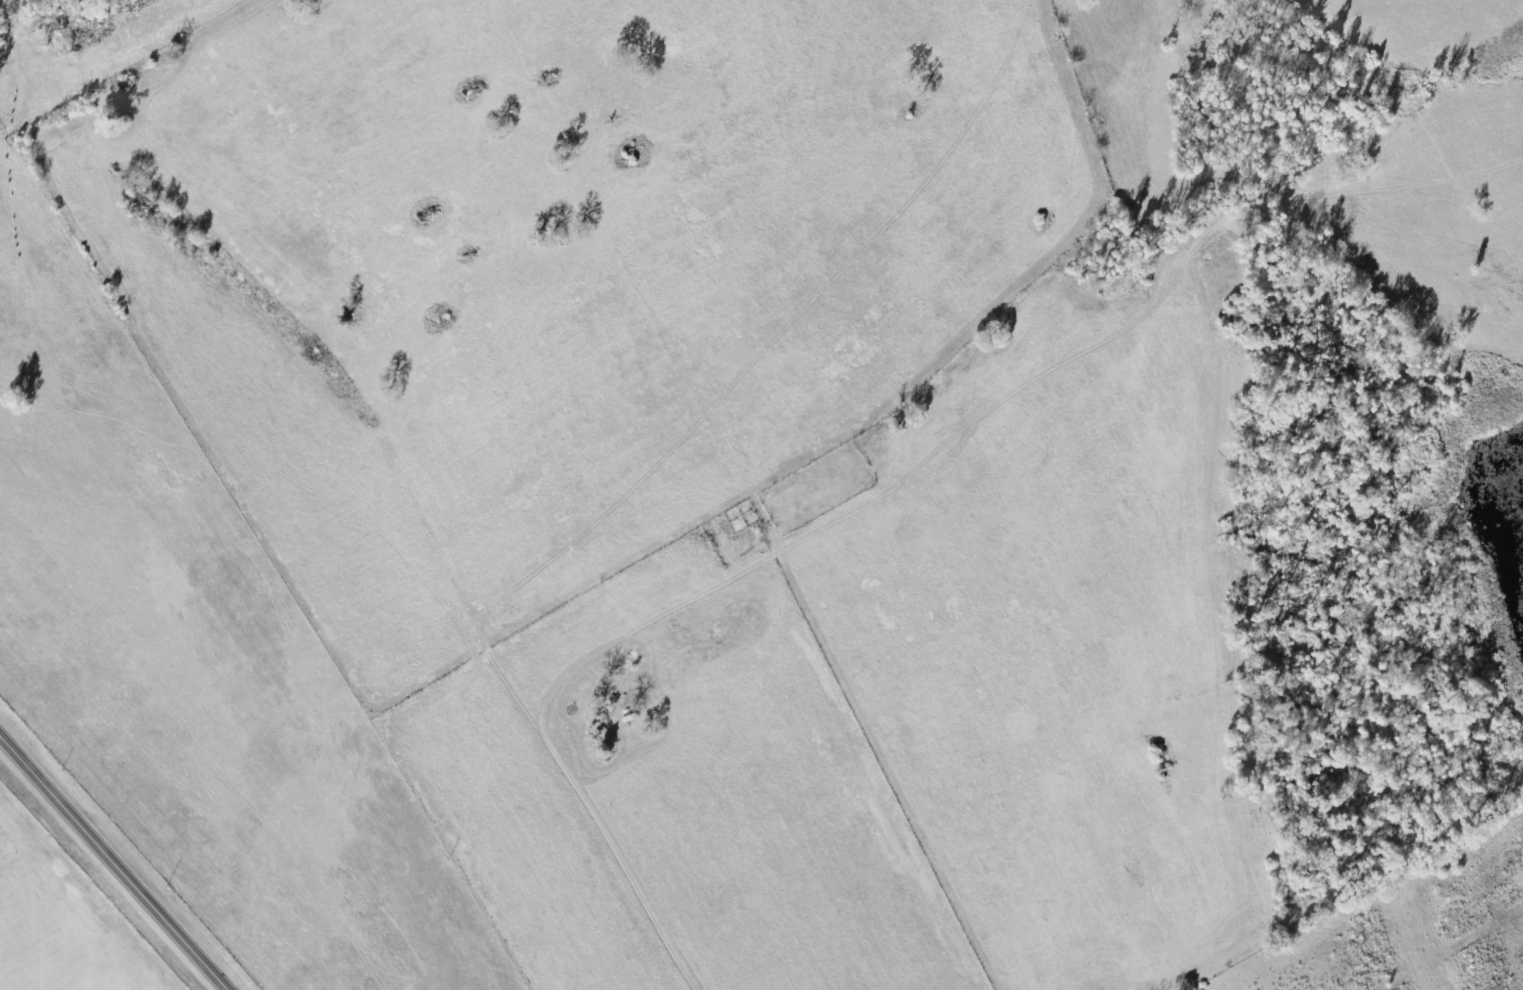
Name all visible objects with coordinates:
road: (113, 863)

